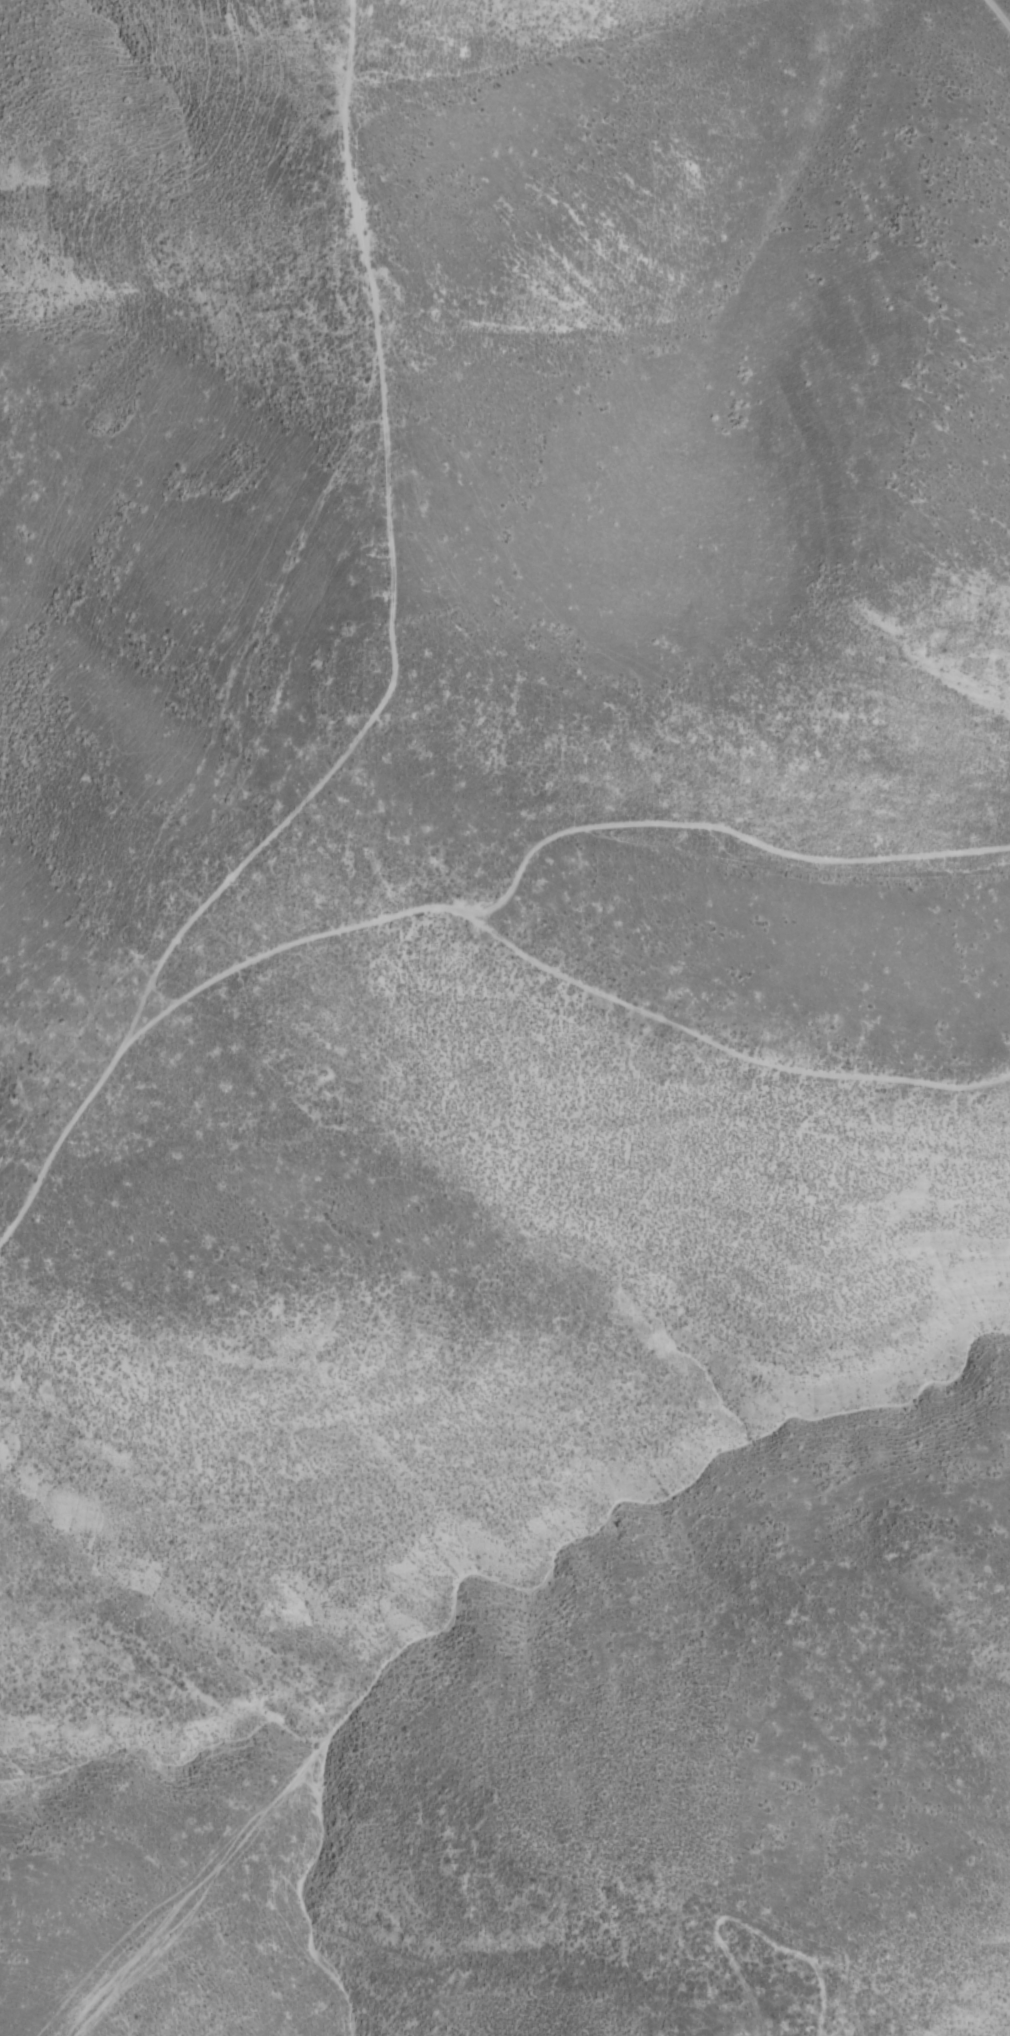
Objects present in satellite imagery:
road: (1000, 12)
road: (389, 570)
road: (447, 909)
road: (718, 1045)
road: (203, 1887)
road: (830, 2005)

